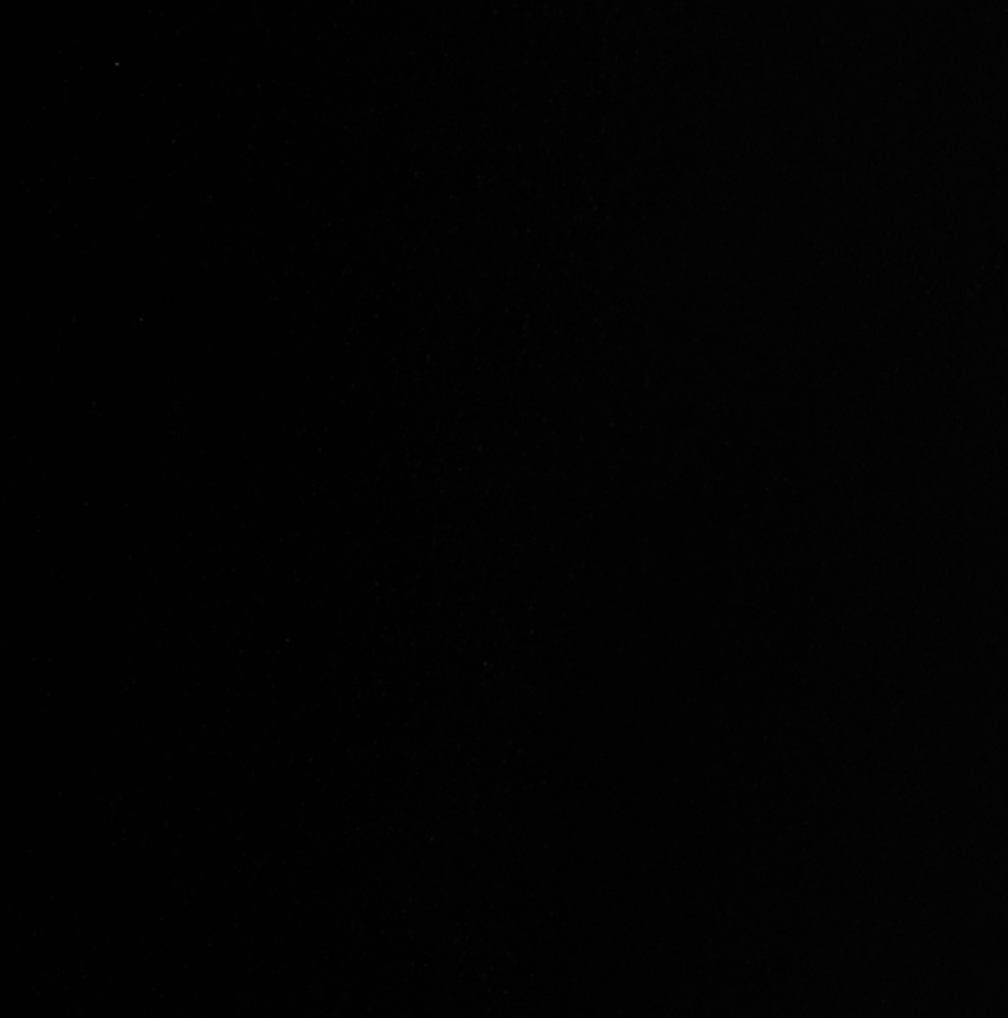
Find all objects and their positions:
river: (913, 583)

